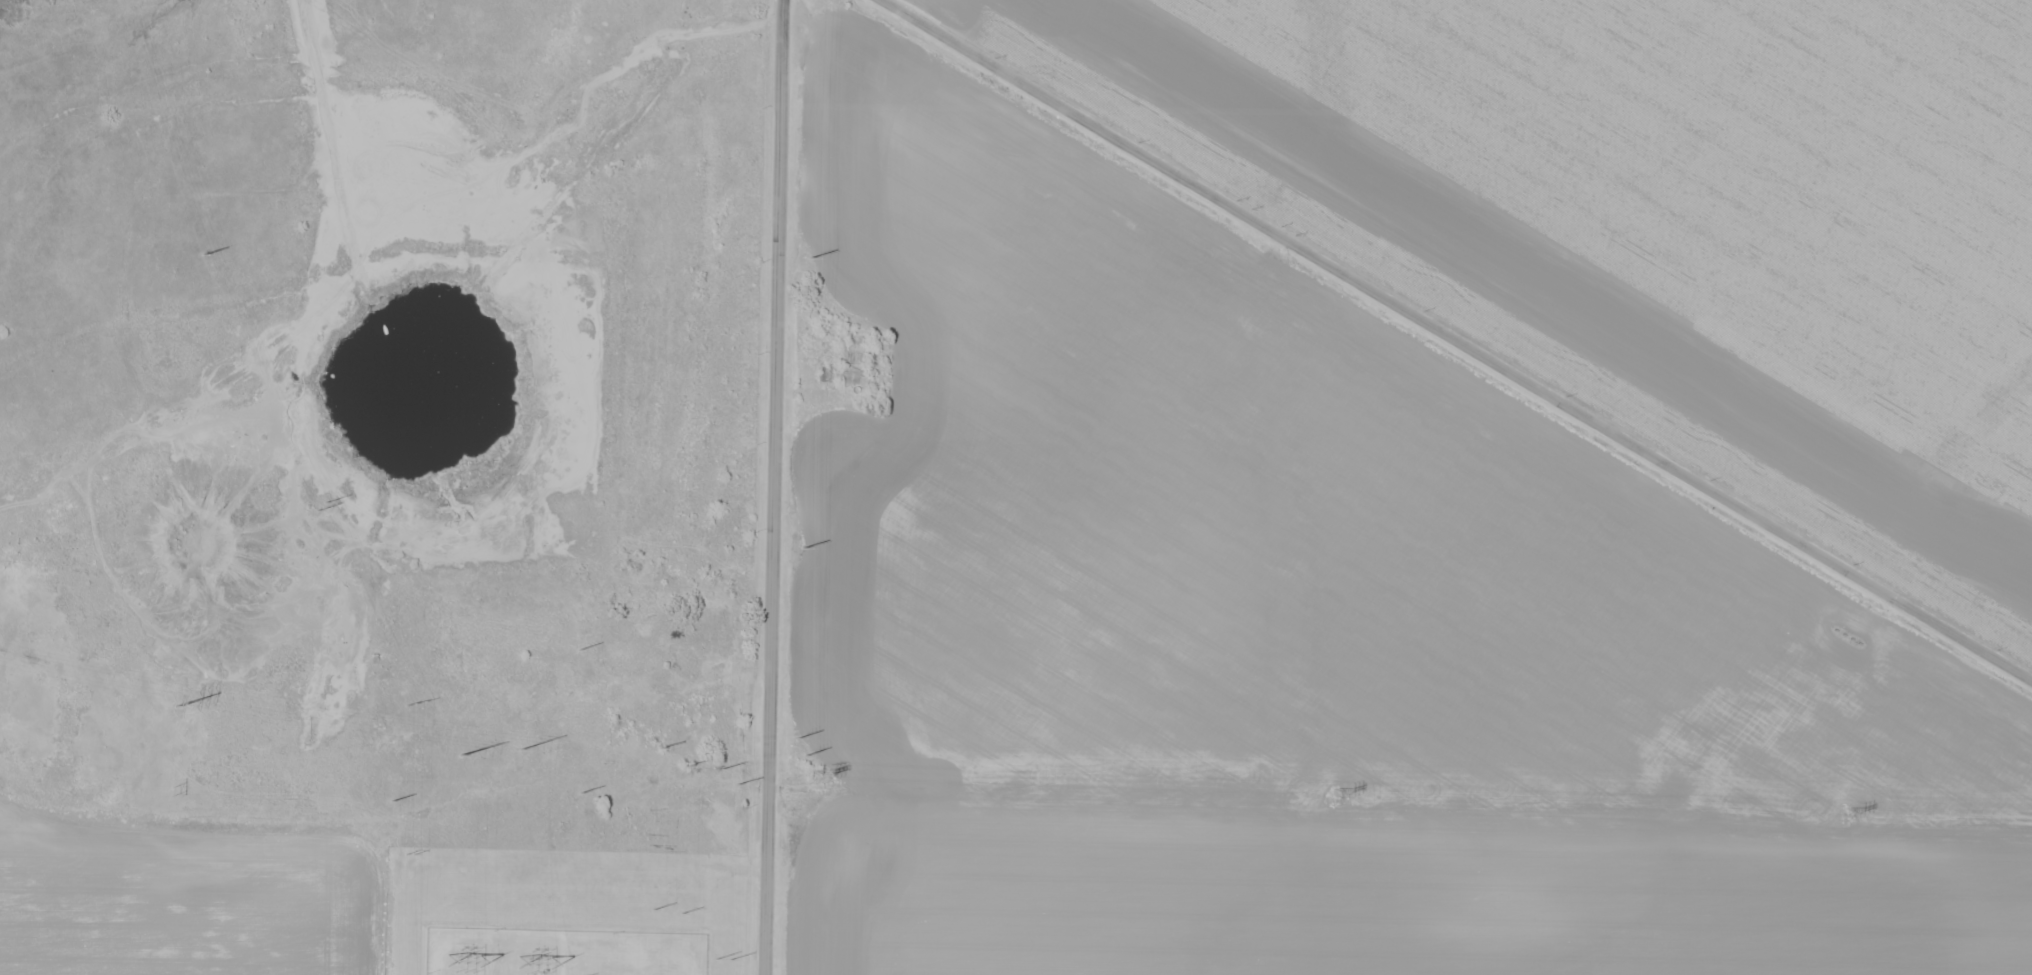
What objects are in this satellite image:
power tower: (203, 256)
power tower: (810, 259)
road: (776, 329)
road: (1459, 330)
building: (853, 378)
road: (105, 449)
power tower: (323, 512)
power tower: (802, 549)
power tower: (578, 651)
power tower: (415, 702)
power tower: (175, 706)
power tower: (797, 739)
power tower: (659, 748)
power tower: (519, 750)
power tower: (460, 755)
power tower: (805, 756)
power tower: (685, 766)
power tower: (721, 769)
power tower: (818, 777)
power tower: (736, 785)
power tower: (168, 790)
power tower: (580, 793)
power tower: (1335, 795)
power tower: (391, 800)
power tower: (1847, 813)
road: (766, 817)
power tower: (410, 853)
power tower: (652, 909)
power tower: (681, 913)
building: (529, 942)
power substation: (560, 952)
power tower: (715, 959)
power tower: (730, 960)

